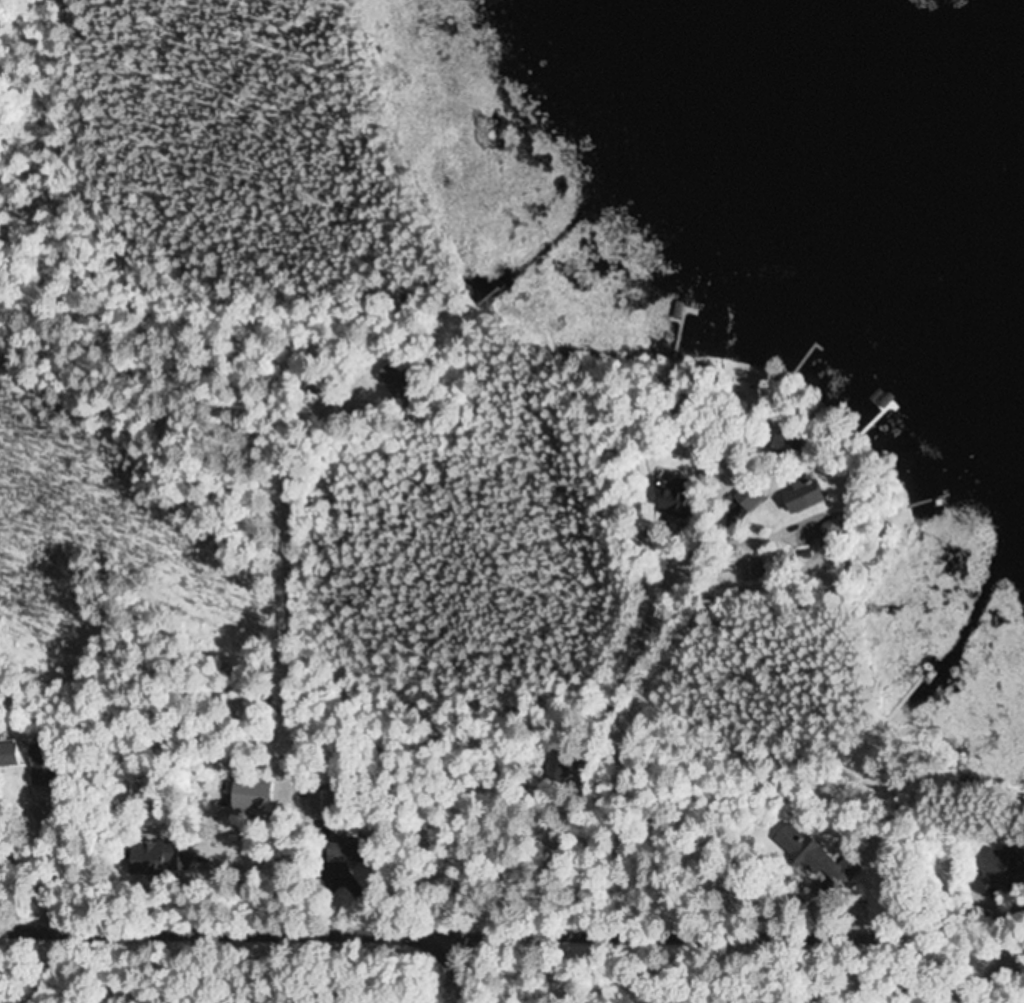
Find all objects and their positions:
building: (405, 382)
building: (784, 443)
building: (674, 496)
building: (796, 496)
building: (747, 498)
building: (755, 570)
building: (10, 754)
building: (249, 793)
building: (321, 805)
building: (347, 847)
building: (805, 848)
building: (163, 856)
building: (1001, 873)
road: (455, 931)
road: (469, 967)
road: (582, 986)

